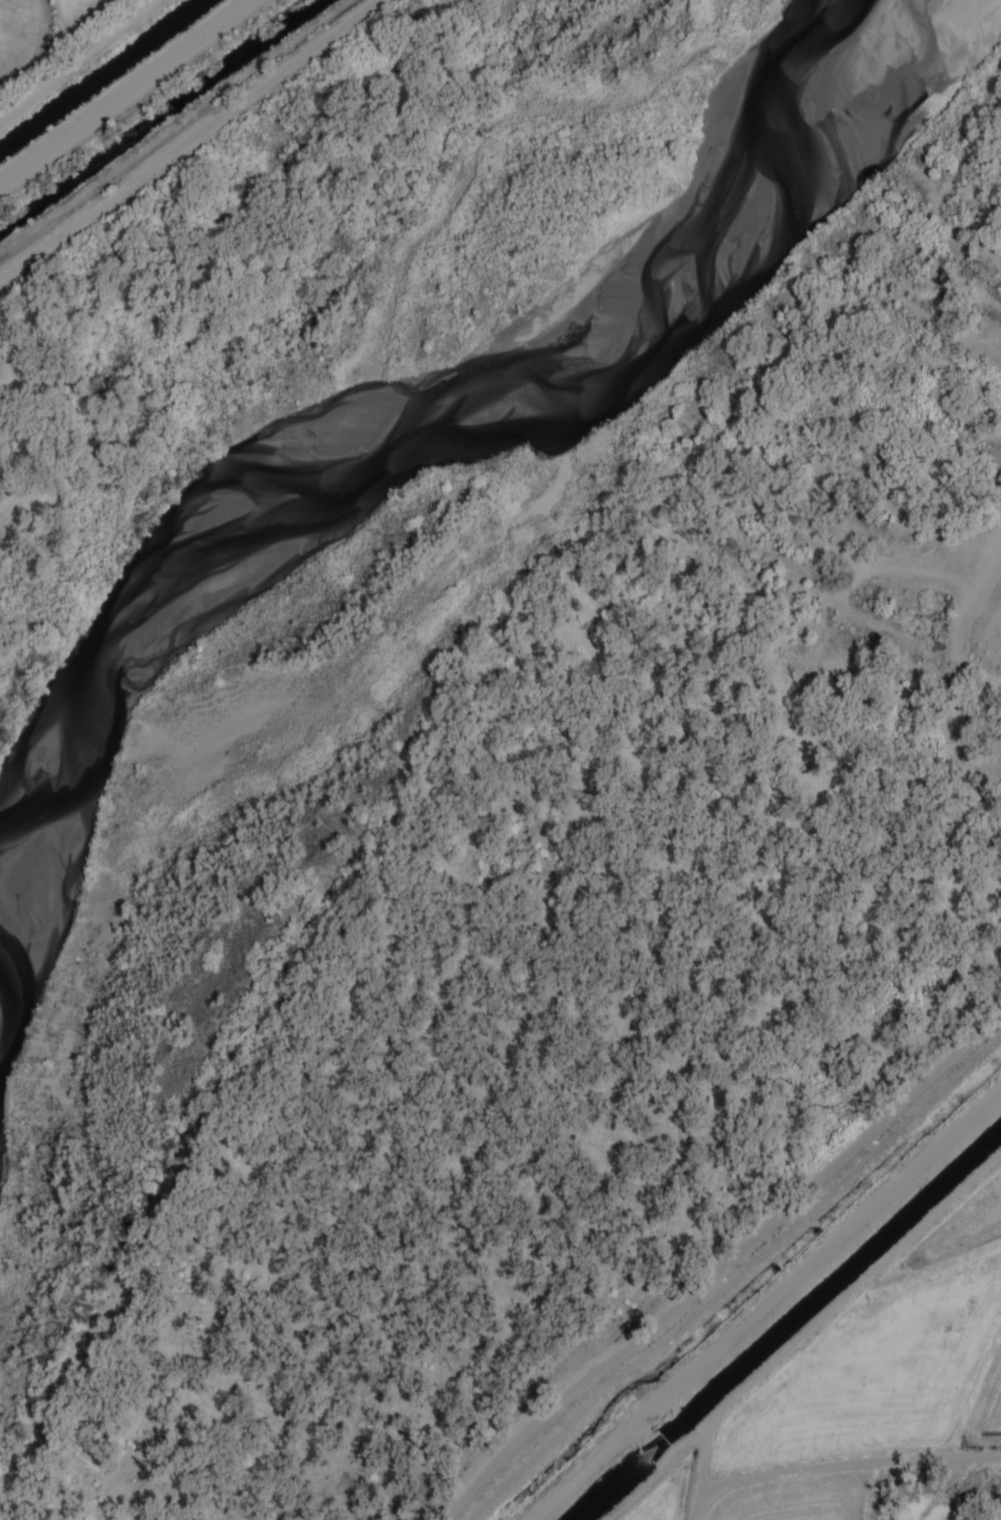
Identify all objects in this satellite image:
river: (384, 455)
road: (838, 1462)

